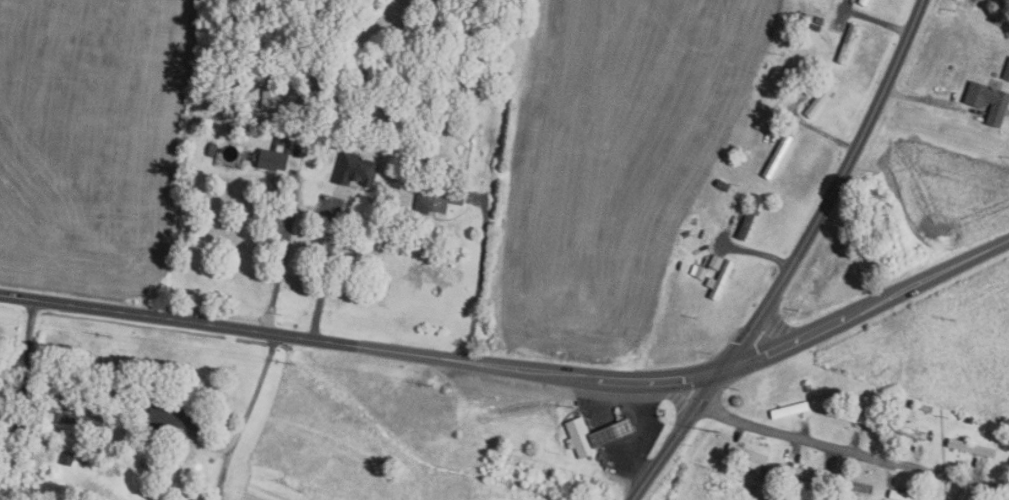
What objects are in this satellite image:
building: (864, 1)
building: (1000, 2)
building: (1008, 14)
building: (802, 19)
building: (819, 20)
road: (876, 20)
building: (815, 27)
building: (848, 43)
building: (1007, 72)
building: (466, 73)
building: (790, 79)
building: (448, 80)
building: (394, 84)
building: (269, 92)
building: (821, 98)
road: (929, 100)
building: (989, 101)
building: (268, 105)
building: (240, 123)
building: (232, 125)
road: (827, 135)
building: (745, 150)
building: (278, 156)
building: (778, 156)
building: (354, 170)
building: (722, 185)
building: (438, 198)
building: (750, 217)
road: (753, 250)
road: (284, 254)
road: (797, 260)
building: (715, 262)
road: (326, 270)
building: (698, 272)
road: (479, 275)
building: (719, 280)
power tower: (957, 321)
power tower: (114, 339)
road: (29, 360)
power tower: (294, 366)
road: (517, 368)
power tower: (842, 373)
power tower: (433, 388)
building: (902, 401)
building: (912, 402)
power tower: (574, 408)
building: (926, 408)
building: (790, 410)
building: (845, 415)
road: (246, 417)
building: (73, 418)
building: (173, 419)
building: (905, 431)
building: (611, 433)
power tower: (717, 434)
road: (612, 435)
building: (579, 438)
road: (209, 444)
building: (971, 448)
road: (853, 452)
building: (748, 456)
building: (67, 458)
building: (795, 472)
building: (849, 484)
building: (904, 496)

